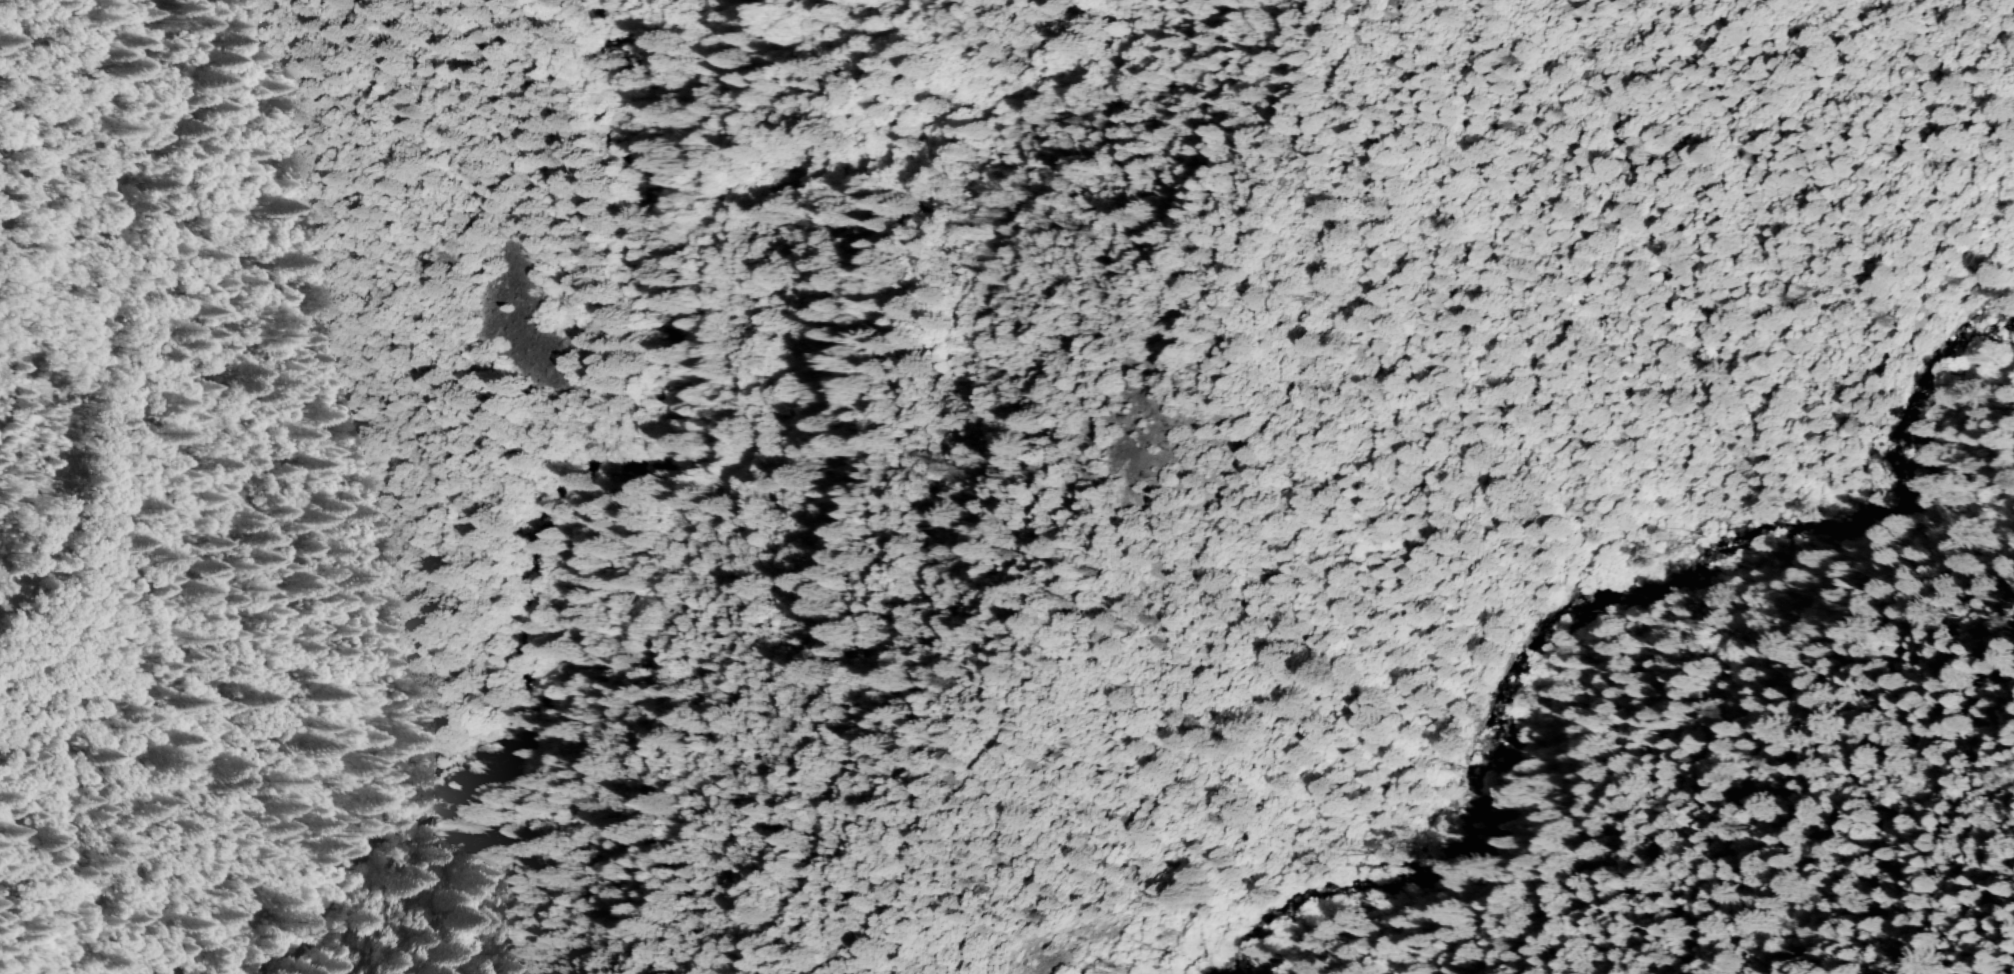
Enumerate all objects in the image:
road: (82, 271)

